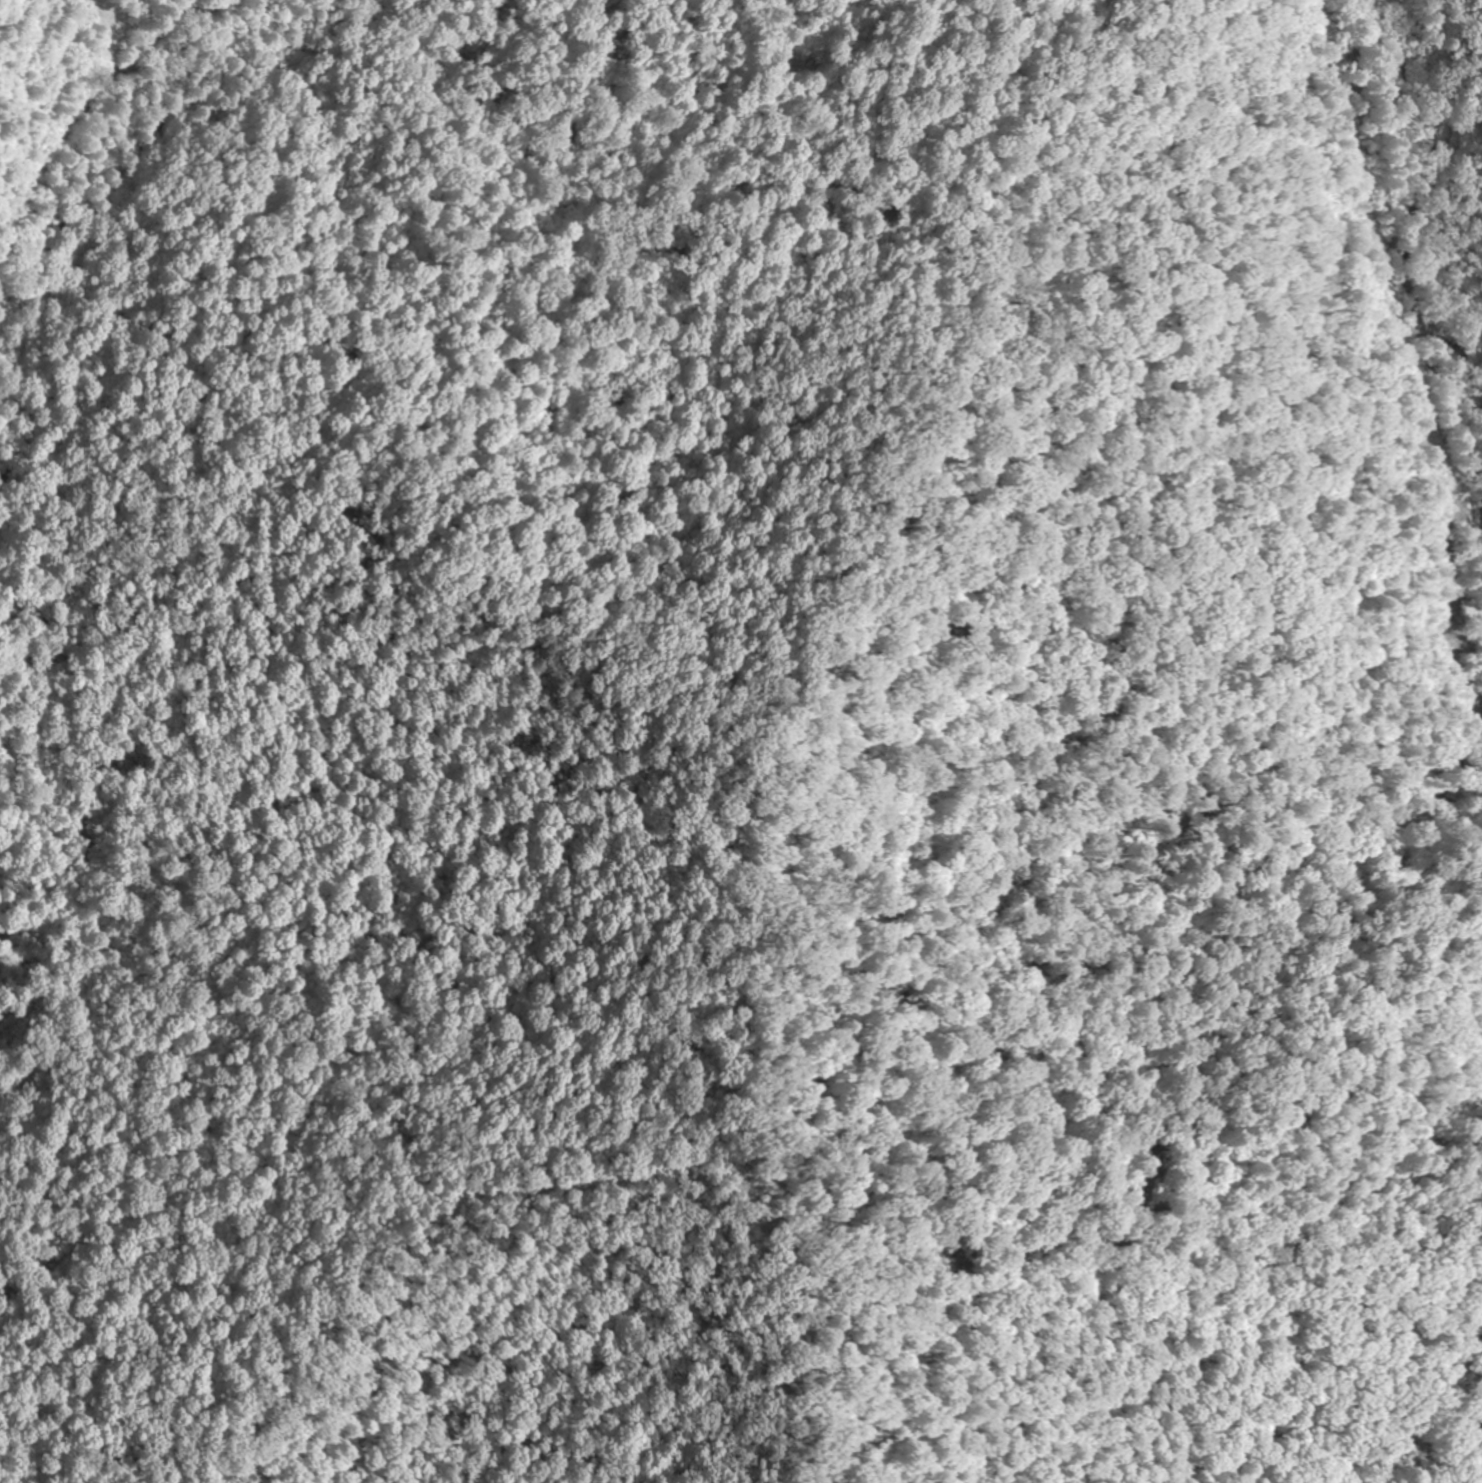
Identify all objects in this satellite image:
road: (97, 105)
road: (1395, 257)

